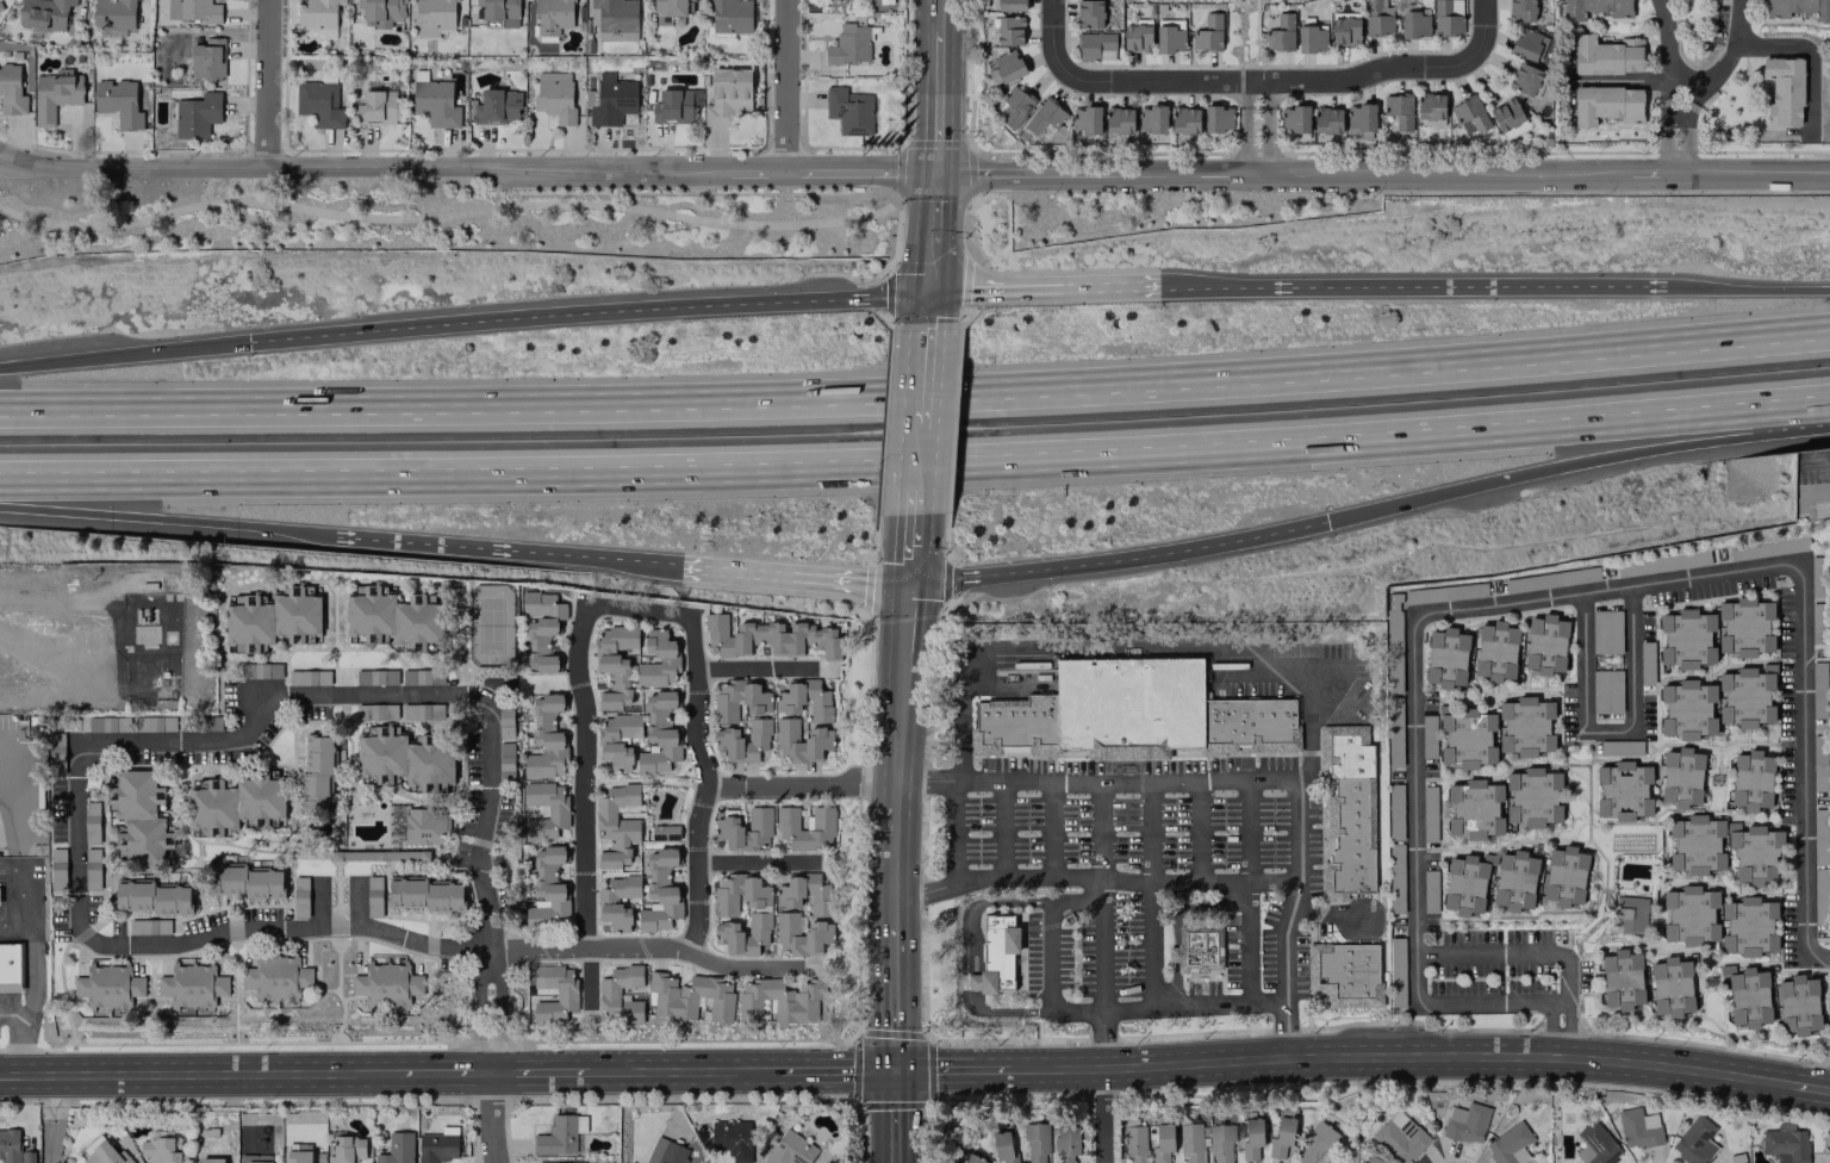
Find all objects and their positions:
building: (1007, 5)
building: (668, 7)
road: (936, 7)
building: (1594, 7)
building: (1798, 8)
building: (192, 10)
building: (1520, 10)
building: (379, 12)
building: (499, 12)
building: (43, 13)
building: (317, 13)
building: (1089, 13)
building: (113, 14)
building: (612, 14)
building: (553, 15)
building: (730, 15)
building: (435, 17)
building: (1376, 17)
building: (1446, 17)
building: (1413, 24)
building: (1344, 27)
building: (1009, 30)
road: (1482, 31)
building: (1208, 33)
building: (1280, 33)
building: (1170, 36)
building: (1135, 37)
road: (1051, 38)
building: (1311, 38)
building: (1526, 43)
building: (849, 44)
building: (1095, 45)
building: (1606, 55)
building: (207, 57)
building: (1006, 67)
building: (1524, 79)
road: (1625, 79)
road: (1698, 80)
road: (267, 82)
road: (1268, 82)
road: (783, 85)
road: (1669, 86)
building: (11, 91)
building: (1784, 91)
road: (1699, 92)
road: (935, 93)
building: (54, 94)
road: (1268, 94)
building: (554, 95)
building: (727, 95)
road: (1247, 95)
building: (609, 99)
building: (118, 101)
building: (318, 102)
building: (435, 102)
building: (1606, 104)
building: (676, 105)
building: (497, 106)
building: (1014, 106)
building: (375, 107)
building: (1430, 108)
building: (848, 110)
building: (1399, 110)
building: (197, 114)
building: (1469, 114)
building: (1044, 116)
building: (1359, 117)
building: (1507, 117)
building: (1151, 118)
building: (1216, 118)
building: (1293, 118)
building: (1085, 119)
building: (1119, 119)
building: (1184, 119)
building: (1327, 119)
road: (1675, 119)
road: (1257, 124)
road: (1664, 136)
road: (1687, 137)
road: (1266, 143)
road: (933, 144)
road: (1247, 144)
road: (914, 172)
traffic signals: (934, 172)
road: (933, 209)
road: (449, 214)
road: (928, 269)
road: (1054, 287)
road: (1425, 287)
road: (1749, 288)
road: (926, 307)
road: (587, 312)
road: (124, 355)
road: (921, 377)
road: (916, 398)
road: (1812, 452)
road: (916, 460)
road: (1577, 461)
road: (915, 462)
road: (911, 512)
road: (156, 520)
road: (496, 551)
road: (909, 556)
road: (1120, 559)
building: (1661, 562)
road: (792, 576)
traffic signals: (908, 584)
building: (1525, 585)
building: (1815, 587)
road: (1602, 590)
building: (1444, 592)
parking lot: (587, 598)
road: (636, 609)
building: (394, 616)
building: (274, 618)
building: (1393, 621)
building: (1816, 622)
park: (490, 624)
building: (1744, 627)
building: (542, 629)
building: (1605, 632)
building: (768, 638)
building: (1686, 638)
building: (1545, 643)
road: (1129, 647)
building: (1495, 651)
building: (1445, 657)
building: (659, 661)
building: (614, 665)
road: (754, 668)
building: (261, 670)
building: (375, 676)
building: (415, 676)
building: (1818, 690)
building: (1606, 691)
road: (273, 696)
building: (1745, 696)
building: (739, 699)
building: (789, 702)
building: (1687, 709)
building: (376, 710)
building: (415, 710)
building: (1134, 714)
building: (505, 720)
building: (107, 722)
building: (154, 722)
parking lot: (591, 722)
building: (1525, 726)
parking lot: (701, 732)
building: (660, 733)
road: (1614, 733)
building: (1427, 735)
building: (1394, 736)
building: (1465, 736)
building: (547, 738)
building: (802, 741)
building: (746, 742)
building: (610, 744)
road: (896, 751)
building: (56, 752)
building: (406, 758)
road: (1806, 758)
building: (505, 761)
building: (1818, 763)
parking lot: (590, 770)
building: (318, 772)
road: (1, 773)
building: (1681, 777)
building: (1750, 779)
road: (926, 780)
road: (1127, 780)
road: (1417, 780)
road: (705, 783)
road: (799, 784)
building: (1623, 790)
parking lot: (590, 791)
parking lot: (783, 795)
building: (1532, 796)
building: (238, 802)
road: (583, 804)
building: (1474, 809)
building: (1395, 810)
building: (558, 811)
building: (1347, 813)
building: (1428, 813)
building: (141, 817)
parking lot: (689, 819)
building: (91, 822)
road: (481, 825)
building: (424, 827)
building: (617, 827)
building: (822, 827)
road: (1100, 828)
road: (1000, 829)
road: (1051, 829)
building: (745, 831)
building: (665, 832)
road: (1149, 832)
road: (1199, 832)
road: (1249, 832)
building: (1819, 837)
parking lot: (1171, 839)
building: (1695, 844)
road: (77, 850)
building: (1754, 852)
road: (755, 863)
building: (57, 869)
building: (91, 869)
building: (1564, 876)
parking lot: (591, 878)
building: (247, 881)
road: (1126, 881)
building: (1514, 881)
road: (25, 883)
building: (1465, 883)
building: (548, 887)
road: (1100, 889)
building: (661, 890)
road: (923, 891)
building: (1428, 893)
building: (427, 894)
building: (737, 894)
building: (1819, 895)
building: (299, 896)
building: (373, 896)
building: (791, 896)
building: (154, 897)
building: (609, 903)
road: (978, 904)
parking lot: (703, 906)
building: (1630, 913)
road: (1324, 914)
building: (1689, 915)
road: (1175, 923)
building: (148, 926)
building: (1748, 926)
road: (1, 927)
road: (15, 927)
road: (293, 928)
building: (729, 933)
building: (818, 933)
road: (1282, 941)
road: (1249, 944)
road: (643, 946)
road: (1150, 946)
building: (1197, 947)
parking lot: (1087, 951)
road: (1490, 952)
building: (1171, 953)
building: (995, 954)
parking lot: (544, 956)
parking lot: (630, 956)
building: (11, 966)
road: (29, 974)
building: (1345, 975)
building: (276, 976)
road: (1563, 978)
building: (1622, 978)
road: (972, 982)
building: (386, 983)
building: (108, 985)
building: (192, 985)
parking lot: (1201, 987)
building: (1670, 987)
building: (567, 994)
building: (609, 994)
road: (892, 994)
road: (1047, 994)
building: (1748, 996)
building: (692, 997)
building: (779, 1000)
parking lot: (10, 1003)
road: (1464, 1003)
building: (1797, 1005)
road: (487, 1008)
road: (1003, 1012)
road: (10, 1015)
road: (1563, 1030)
road: (1283, 1031)
road: (1234, 1033)
road: (1101, 1039)
road: (429, 1043)
road: (20, 1044)
road: (1399, 1056)
road: (954, 1068)
road: (833, 1069)
traffic signals: (892, 1069)
road: (684, 1070)
road: (541, 1071)
road: (195, 1072)
road: (440, 1072)
road: (1806, 1086)
road: (926, 1103)
road: (894, 1115)
road: (1103, 1115)
road: (50, 1118)
road: (491, 1118)
building: (1465, 1122)
building: (1638, 1127)
building: (560, 1134)
building: (1281, 1137)
building: (1399, 1137)
building: (1162, 1138)
building: (1251, 1138)
building: (732, 1139)
building: (1694, 1142)
building: (1037, 1143)
building: (1066, 1143)
building: (1134, 1143)
building: (1190, 1143)
building: (1220, 1143)
building: (1313, 1143)
building: (1510, 1144)
building: (1595, 1145)
building: (1785, 1145)
building: (1002, 1146)
building: (12, 1148)
building: (436, 1148)
building: (347, 1149)
building: (397, 1149)
building: (790, 1149)
building: (161, 1150)
building: (665, 1151)
building: (101, 1152)
building: (298, 1153)
building: (255, 1158)
building: (210, 1159)
building: (972, 1159)
building: (1375, 1159)
building: (568, 1162)

